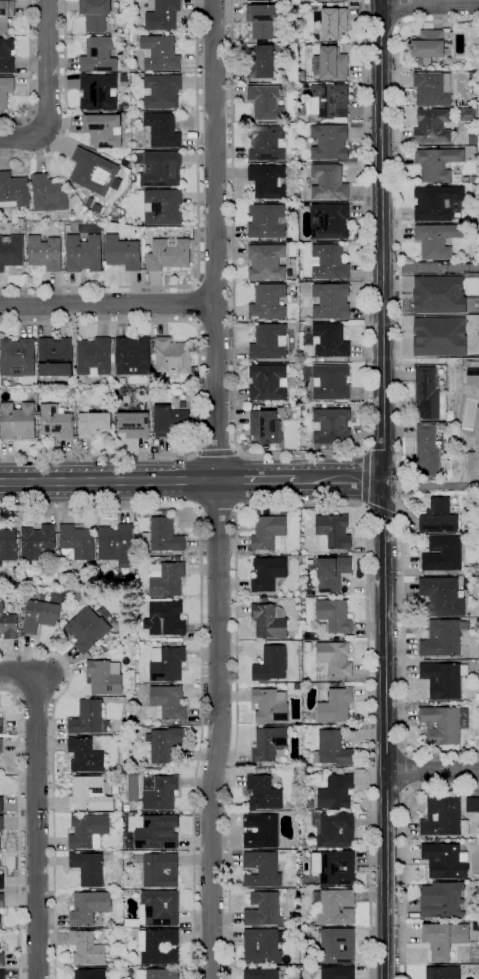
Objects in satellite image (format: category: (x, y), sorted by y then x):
building: (259, 0)
building: (316, 0)
road: (429, 4)
road: (401, 12)
building: (5, 14)
building: (95, 14)
building: (162, 16)
building: (262, 19)
building: (332, 22)
road: (380, 35)
building: (134, 38)
building: (315, 39)
building: (124, 45)
building: (429, 47)
building: (159, 53)
building: (99, 54)
building: (6, 56)
building: (260, 63)
building: (330, 63)
road: (30, 72)
building: (302, 74)
building: (471, 75)
building: (136, 79)
building: (472, 86)
road: (47, 88)
building: (432, 88)
building: (5, 91)
building: (162, 91)
building: (98, 92)
building: (327, 101)
building: (266, 102)
road: (67, 105)
building: (133, 108)
building: (136, 113)
building: (467, 114)
building: (317, 120)
building: (327, 120)
building: (432, 127)
building: (103, 130)
building: (162, 130)
building: (472, 140)
building: (329, 142)
building: (266, 143)
building: (437, 163)
building: (161, 169)
building: (94, 172)
building: (473, 179)
building: (269, 181)
building: (328, 182)
building: (14, 191)
building: (49, 194)
building: (89, 202)
building: (436, 202)
building: (162, 206)
building: (97, 208)
building: (266, 221)
building: (329, 221)
road: (198, 239)
building: (437, 240)
building: (11, 251)
building: (122, 252)
building: (44, 253)
building: (83, 253)
building: (168, 254)
building: (266, 261)
building: (328, 262)
road: (430, 266)
road: (214, 284)
building: (330, 301)
building: (268, 302)
road: (107, 304)
road: (195, 304)
road: (215, 324)
building: (327, 340)
building: (269, 342)
building: (132, 356)
building: (172, 356)
building: (17, 357)
building: (55, 357)
building: (93, 357)
building: (312, 360)
building: (472, 376)
building: (268, 382)
building: (330, 382)
road: (400, 385)
road: (200, 388)
building: (427, 392)
building: (284, 402)
building: (183, 405)
building: (169, 420)
building: (17, 421)
building: (56, 422)
building: (93, 424)
building: (133, 424)
building: (331, 426)
building: (265, 427)
building: (476, 435)
building: (426, 451)
road: (216, 453)
road: (299, 453)
road: (364, 475)
road: (256, 480)
road: (339, 480)
road: (109, 481)
road: (431, 486)
road: (219, 489)
road: (384, 489)
road: (303, 506)
road: (217, 511)
road: (382, 512)
building: (439, 517)
building: (332, 532)
building: (269, 533)
building: (162, 536)
building: (37, 541)
building: (76, 542)
building: (8, 544)
building: (116, 544)
building: (442, 554)
building: (177, 558)
building: (268, 573)
building: (332, 573)
building: (166, 579)
building: (127, 584)
building: (83, 594)
building: (441, 597)
building: (264, 599)
building: (270, 599)
building: (40, 615)
building: (334, 615)
building: (165, 618)
building: (269, 621)
building: (8, 624)
building: (87, 629)
building: (443, 637)
building: (175, 639)
building: (166, 643)
building: (173, 644)
road: (201, 646)
building: (307, 646)
building: (334, 658)
building: (166, 663)
building: (270, 664)
building: (104, 677)
building: (442, 680)
road: (29, 683)
building: (261, 684)
building: (271, 684)
building: (334, 684)
road: (16, 692)
building: (477, 697)
building: (127, 701)
building: (168, 702)
building: (269, 705)
building: (335, 706)
building: (88, 718)
building: (1, 725)
building: (443, 726)
building: (165, 744)
building: (268, 744)
building: (1, 746)
building: (332, 749)
road: (388, 754)
building: (85, 756)
road: (432, 771)
road: (406, 772)
road: (53, 782)
building: (335, 790)
road: (387, 790)
building: (159, 792)
building: (263, 793)
building: (89, 794)
building: (1, 804)
building: (309, 804)
building: (472, 805)
road: (35, 807)
building: (126, 807)
building: (115, 818)
building: (443, 818)
building: (1, 823)
building: (114, 826)
road: (19, 828)
building: (336, 830)
building: (88, 831)
building: (260, 831)
building: (157, 832)
building: (436, 841)
road: (404, 849)
building: (445, 861)
building: (334, 867)
building: (88, 868)
building: (261, 869)
building: (160, 870)
building: (1, 881)
building: (441, 899)
building: (2, 900)
building: (335, 907)
building: (89, 908)
building: (159, 908)
building: (262, 909)
building: (0, 921)
building: (444, 939)
building: (337, 945)
building: (261, 946)
building: (159, 947)
building: (87, 948)
building: (474, 955)
building: (1, 959)
building: (90, 973)
building: (338, 973)
building: (443, 973)
building: (159, 974)
building: (261, 974)
building: (2, 975)

